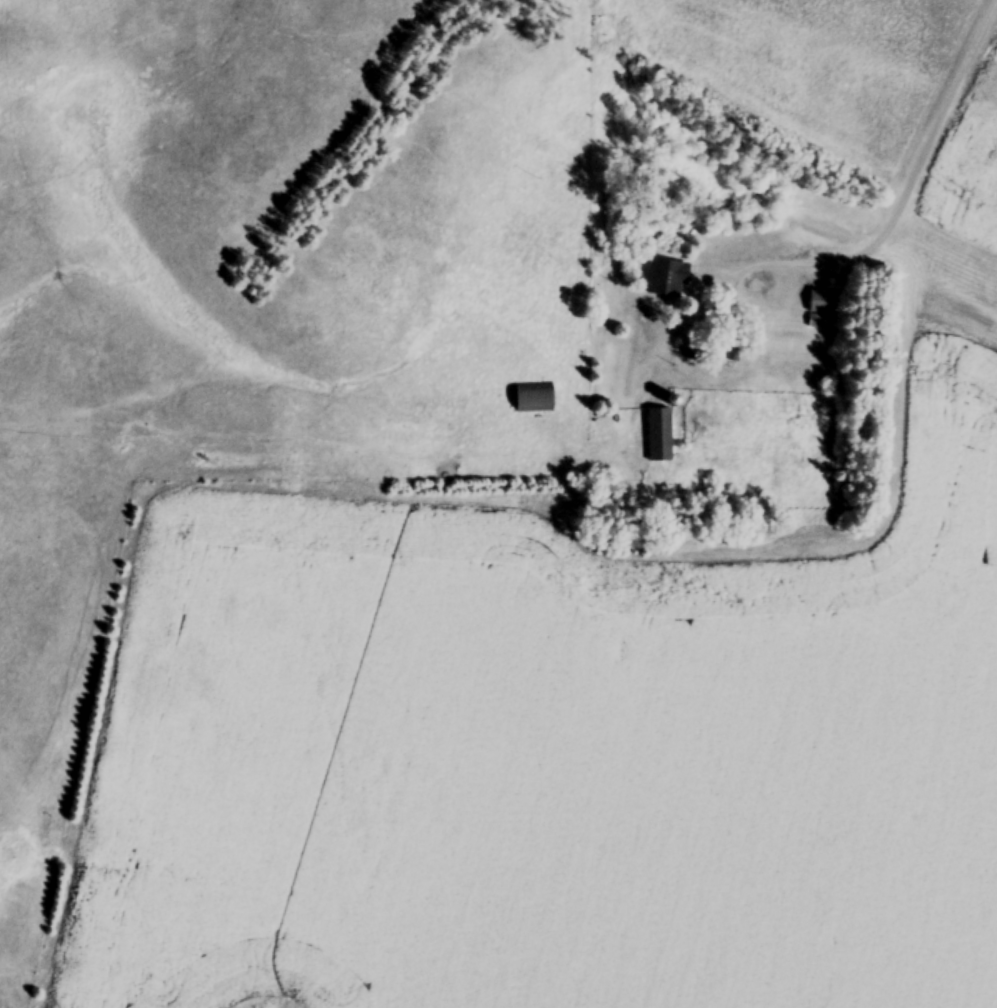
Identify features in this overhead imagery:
road: (902, 205)
building: (668, 280)
building: (820, 309)
building: (534, 398)
building: (661, 437)

